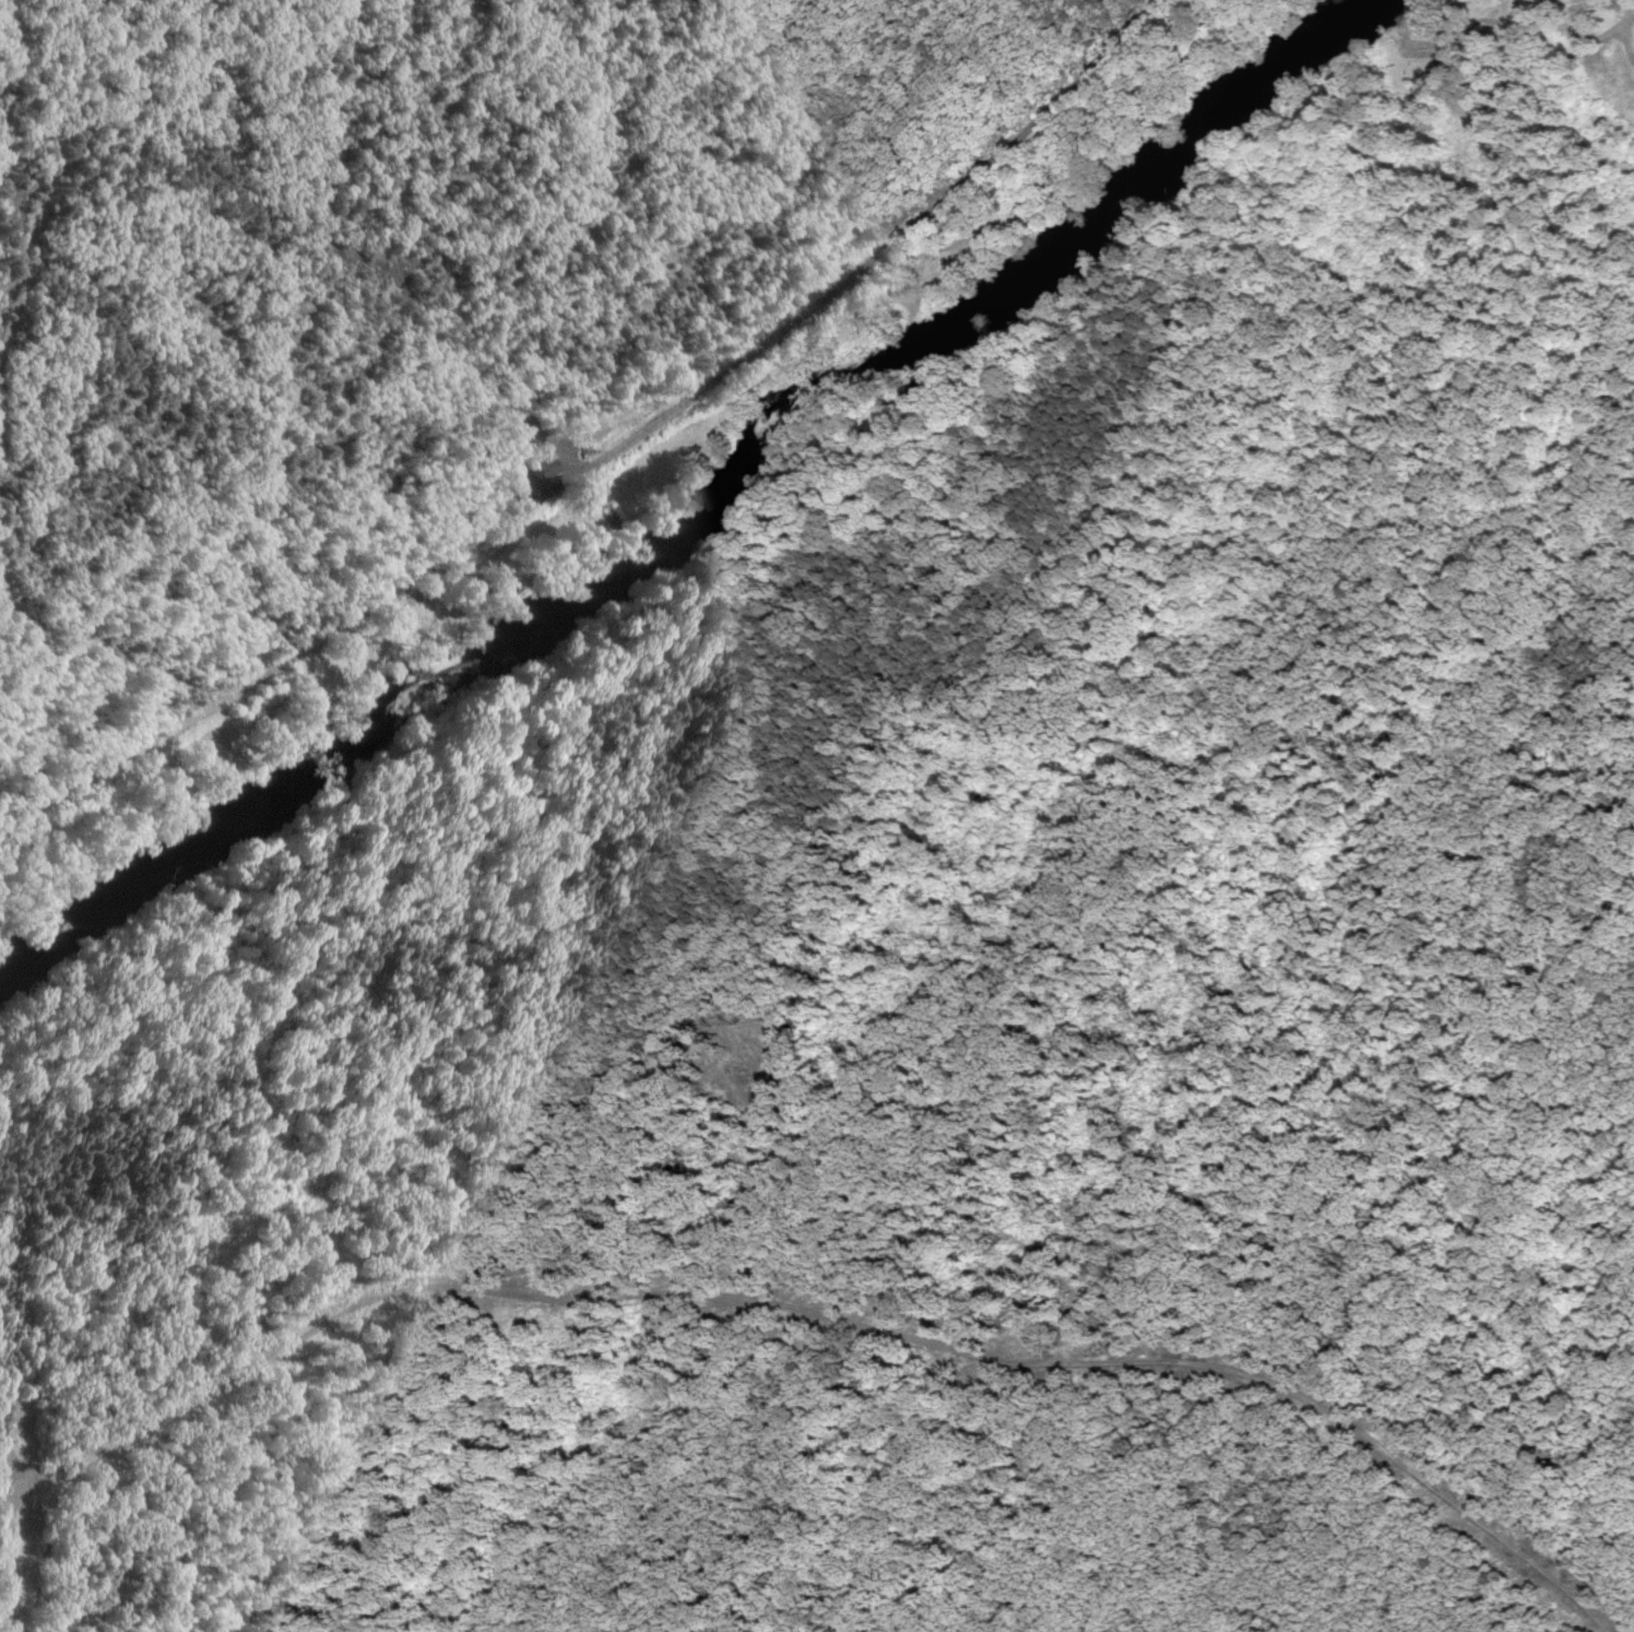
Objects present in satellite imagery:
river: (707, 506)

